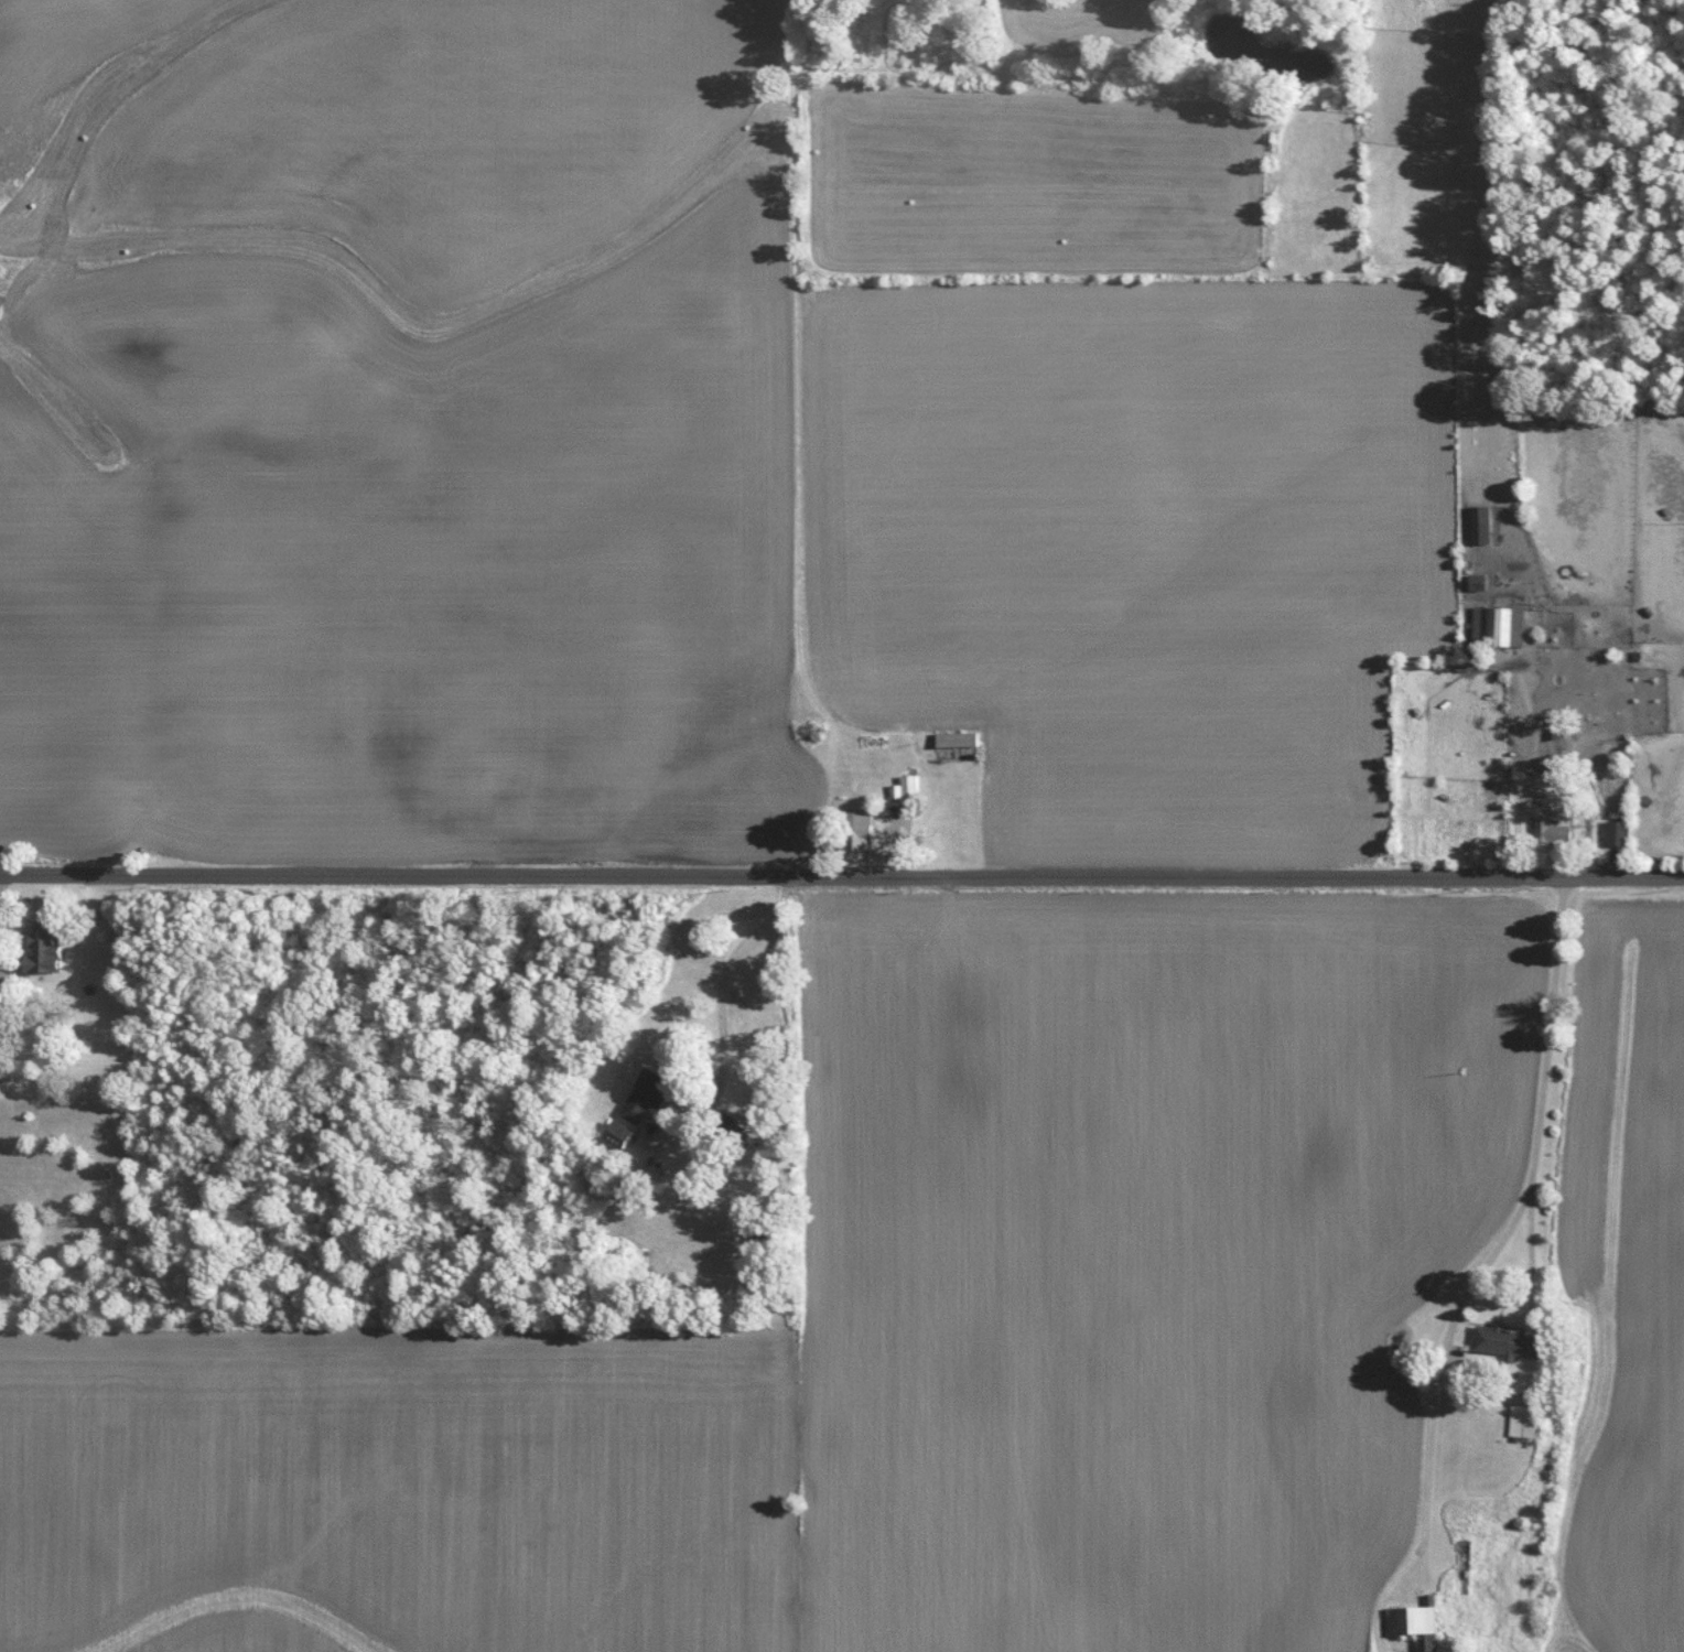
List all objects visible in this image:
building: (1478, 523)
building: (1498, 625)
building: (905, 786)
building: (854, 829)
building: (1548, 830)
building: (1616, 832)
road: (841, 877)
road: (0, 919)
building: (51, 944)
road: (722, 1005)
building: (648, 1094)
building: (626, 1133)
road: (1486, 1237)
building: (1502, 1340)
building: (1414, 1623)

